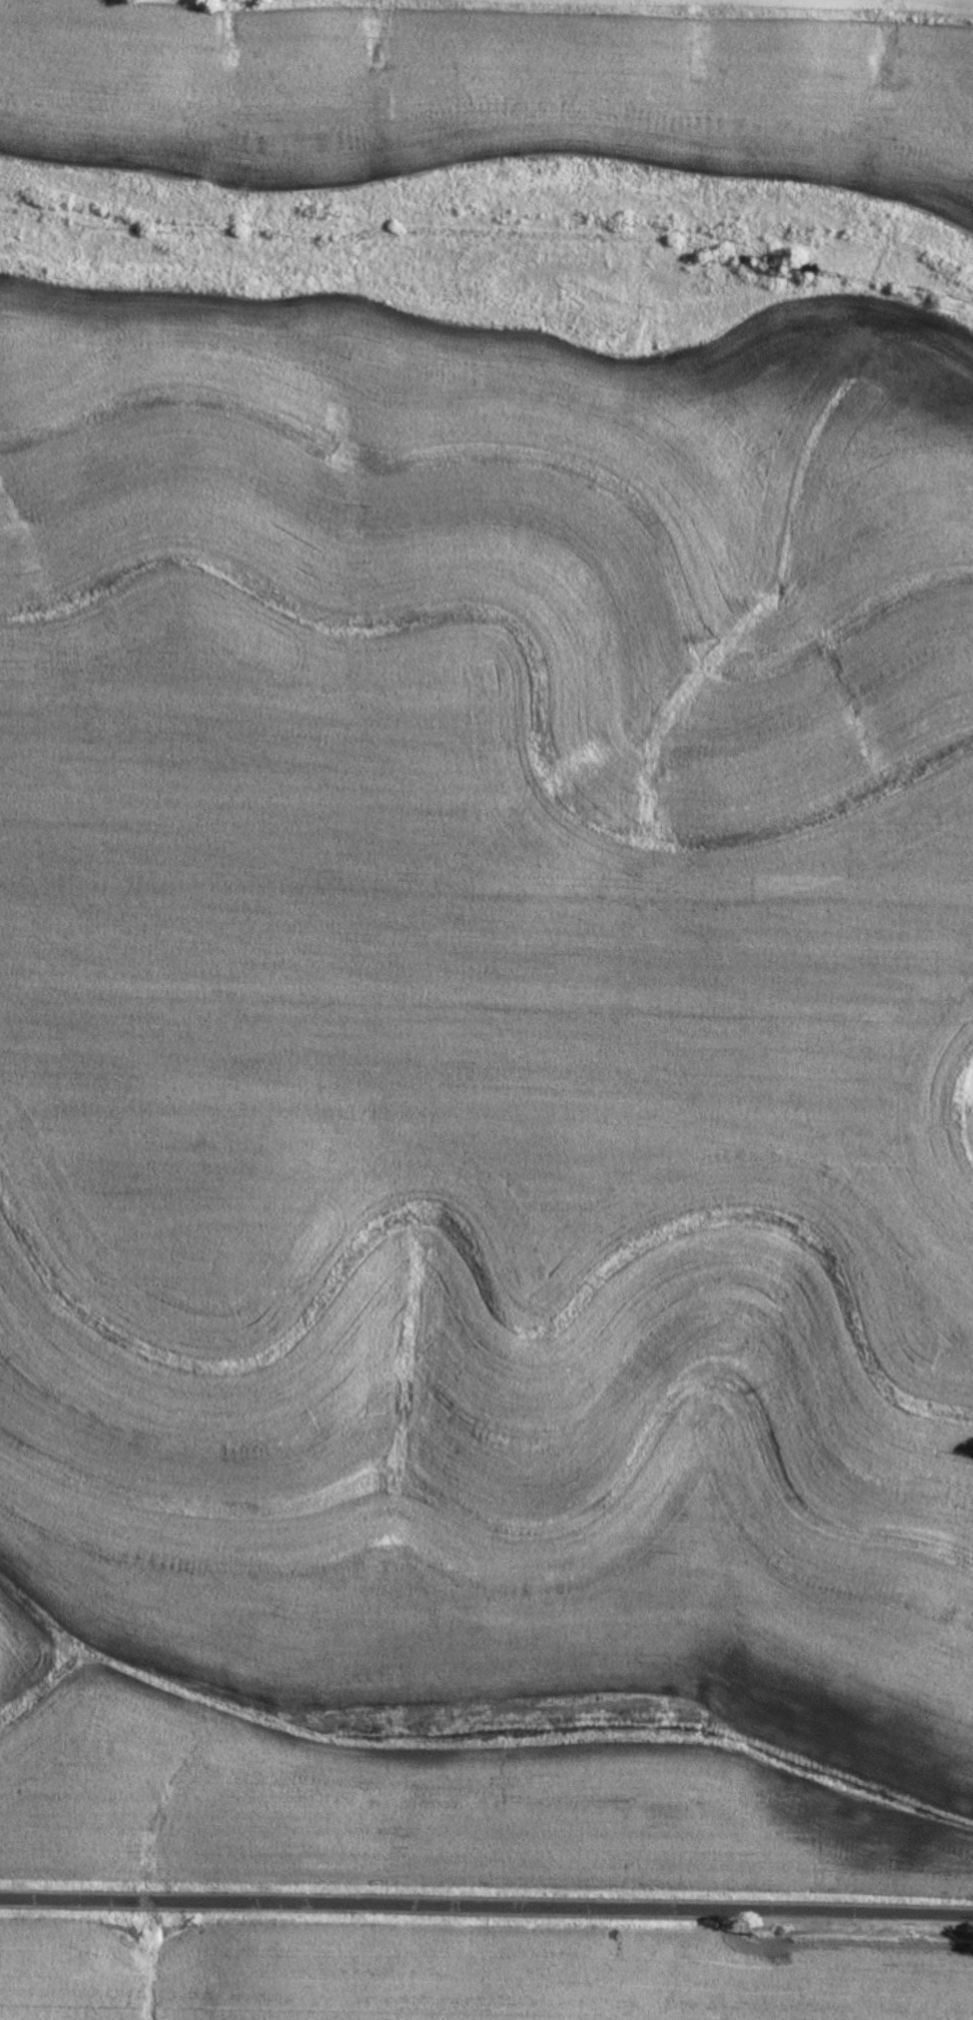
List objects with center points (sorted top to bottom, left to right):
road: (486, 1895)

